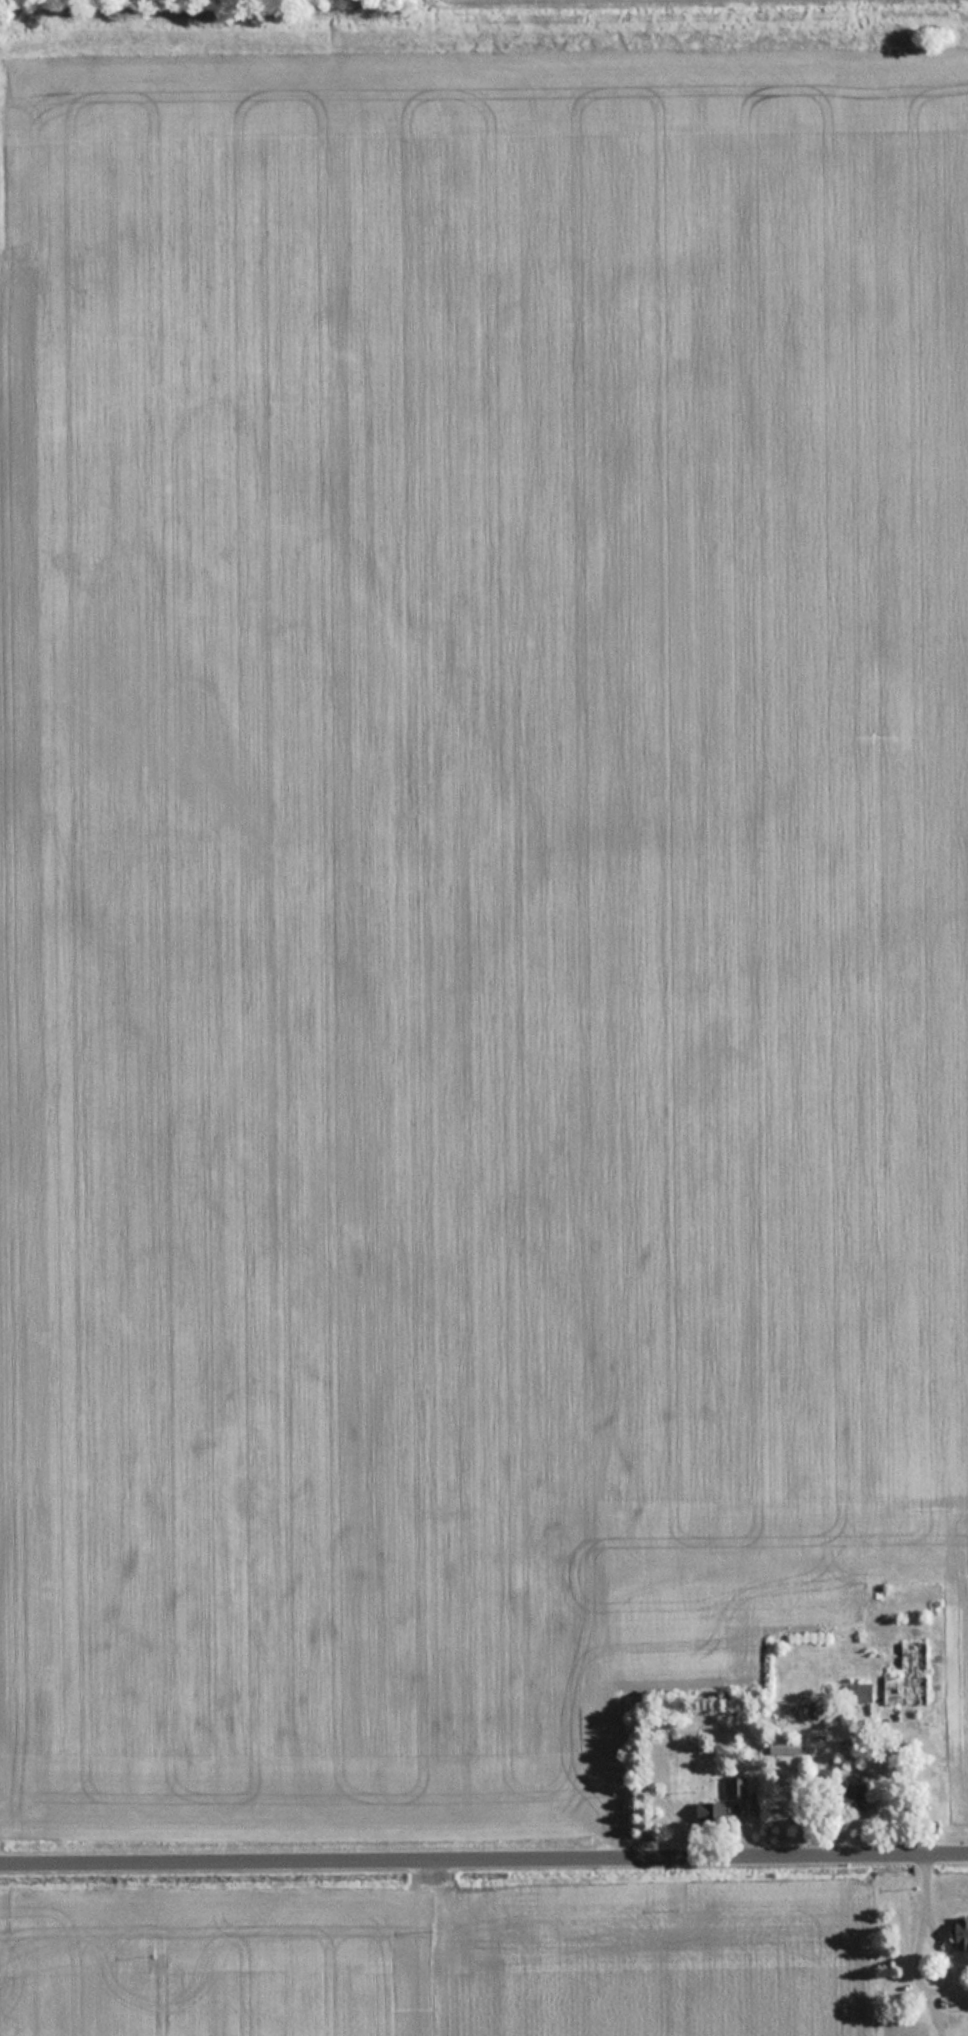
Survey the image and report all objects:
building: (907, 1673)
building: (860, 1693)
building: (795, 1747)
building: (736, 1786)
building: (855, 1795)
building: (710, 1811)
road: (484, 1862)
building: (961, 1932)
building: (956, 1999)

